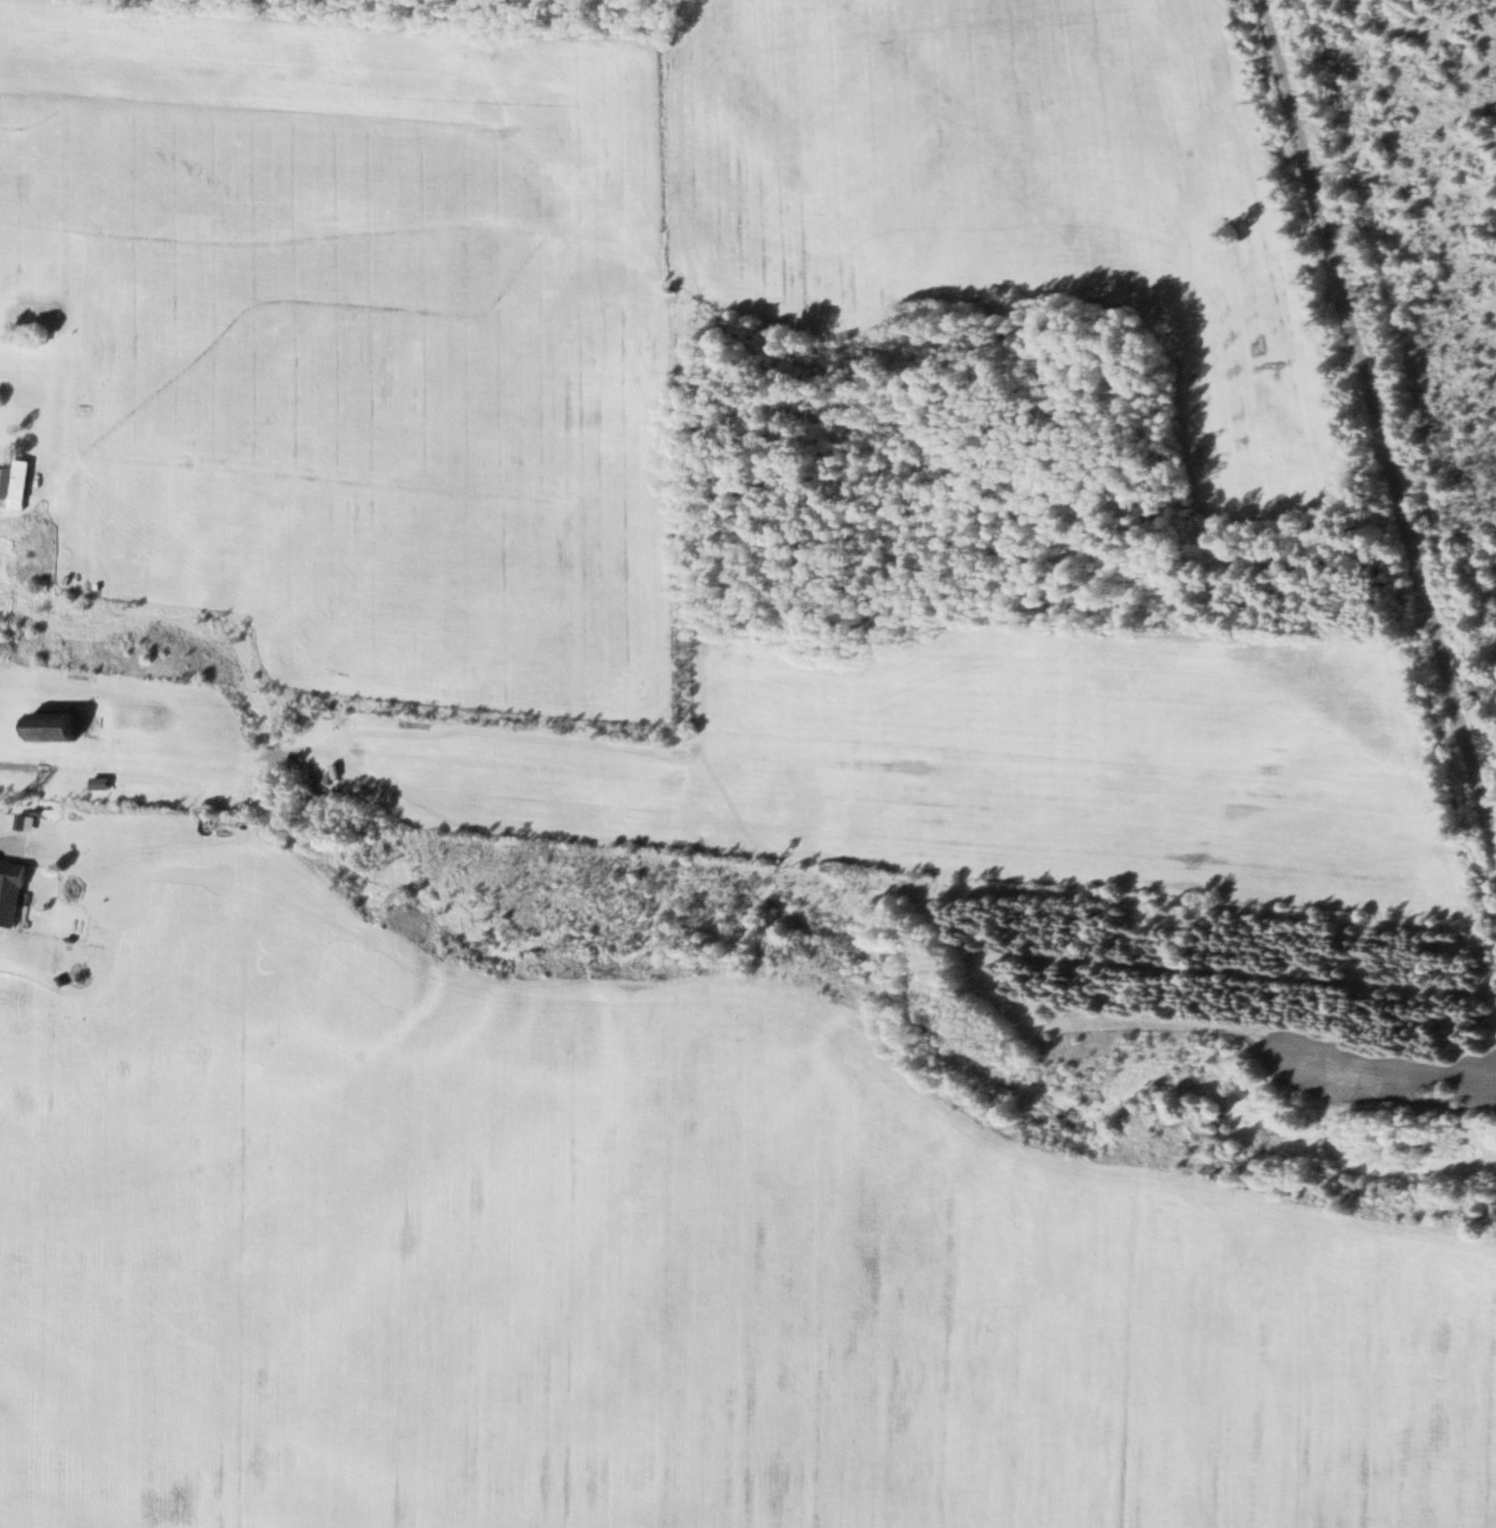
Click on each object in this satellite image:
road: (1380, 413)
building: (13, 481)
building: (54, 725)
building: (11, 890)

